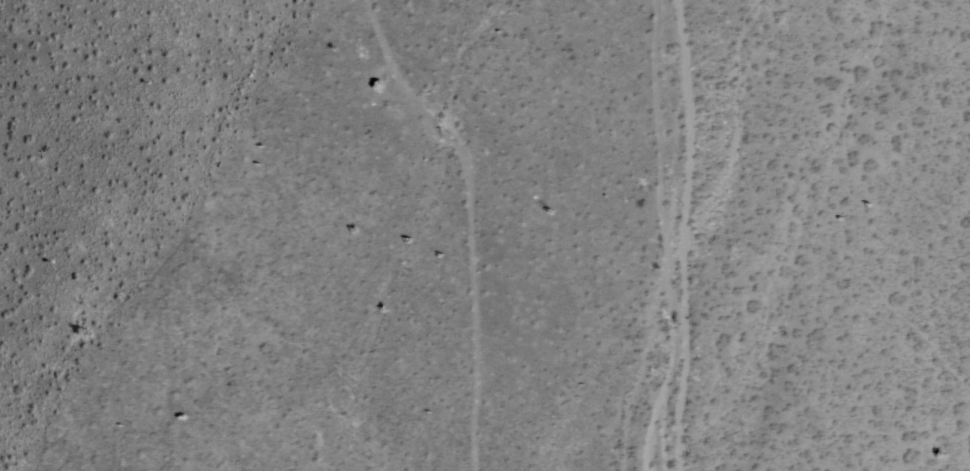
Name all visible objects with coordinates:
road: (677, 235)

